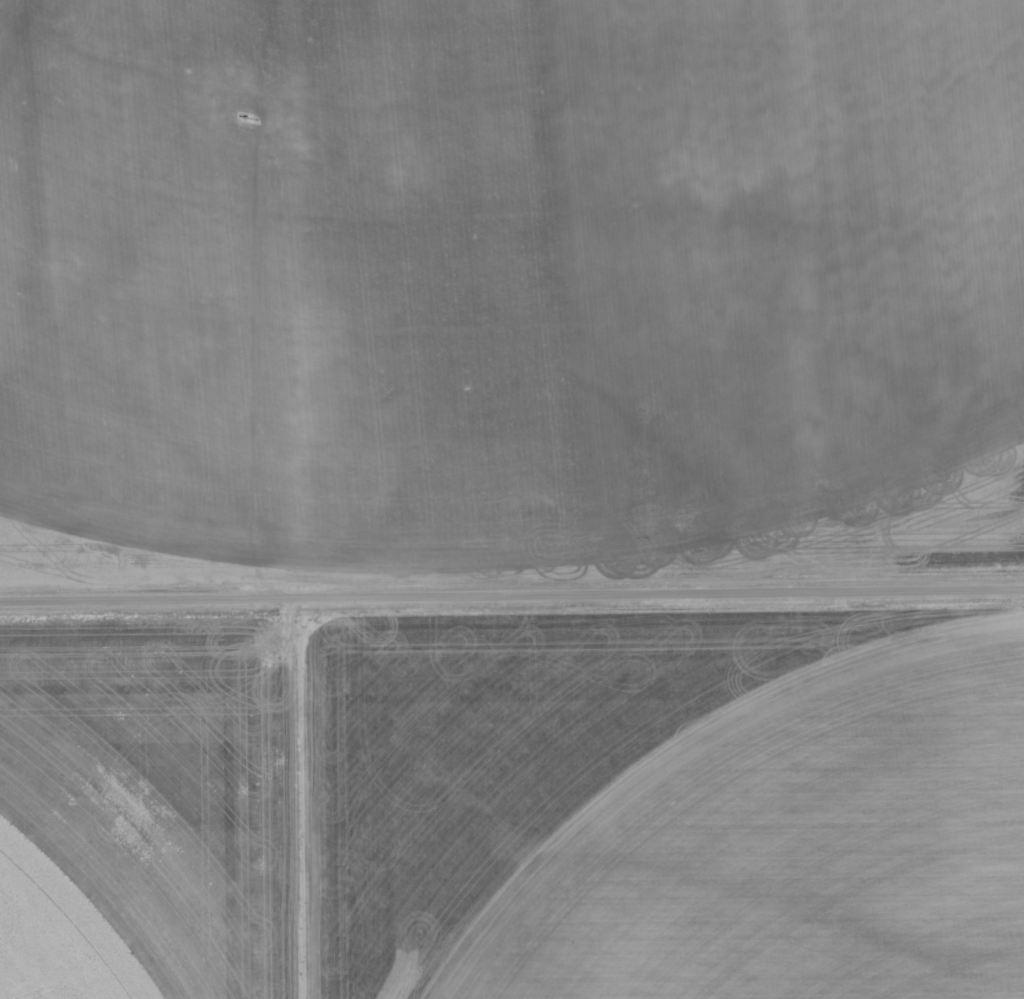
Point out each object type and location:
road: (511, 592)
crop: (835, 889)

